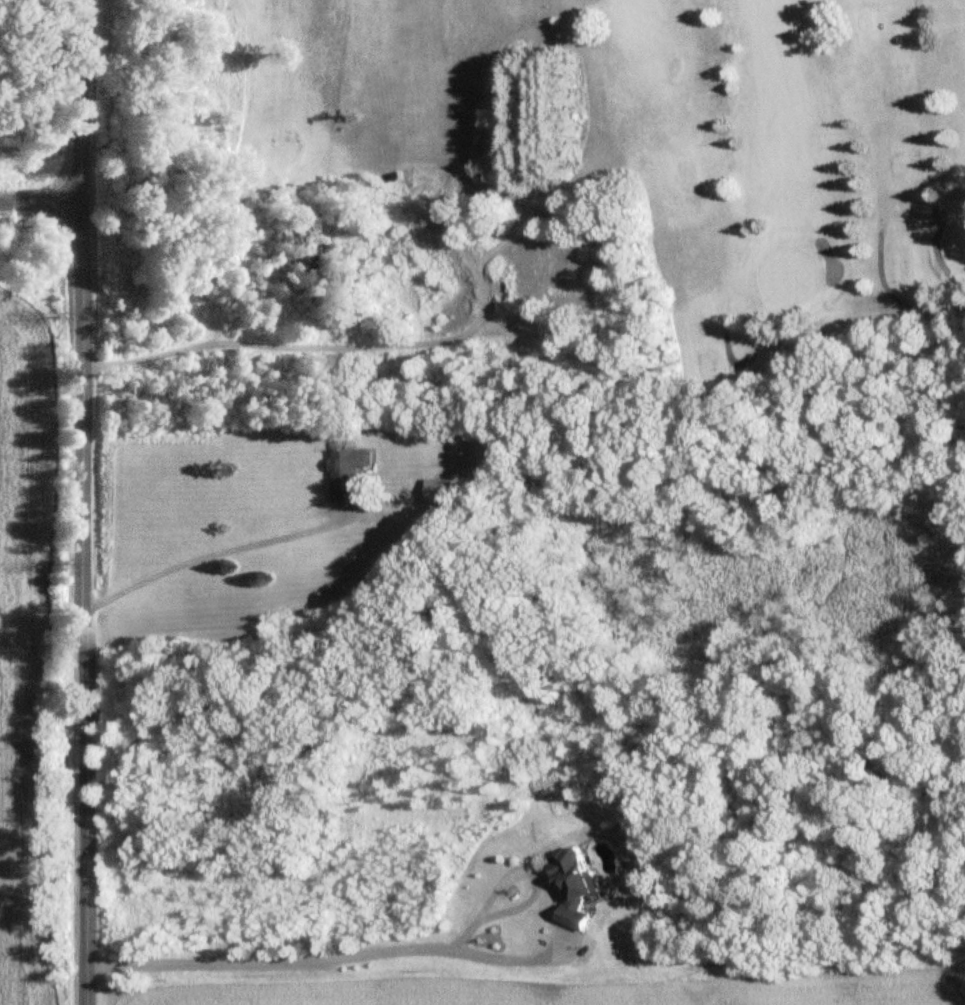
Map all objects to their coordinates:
building: (529, 93)
park: (535, 179)
road: (40, 203)
road: (421, 341)
building: (347, 475)
building: (442, 493)
road: (82, 502)
road: (214, 554)
building: (574, 886)
road: (335, 951)

